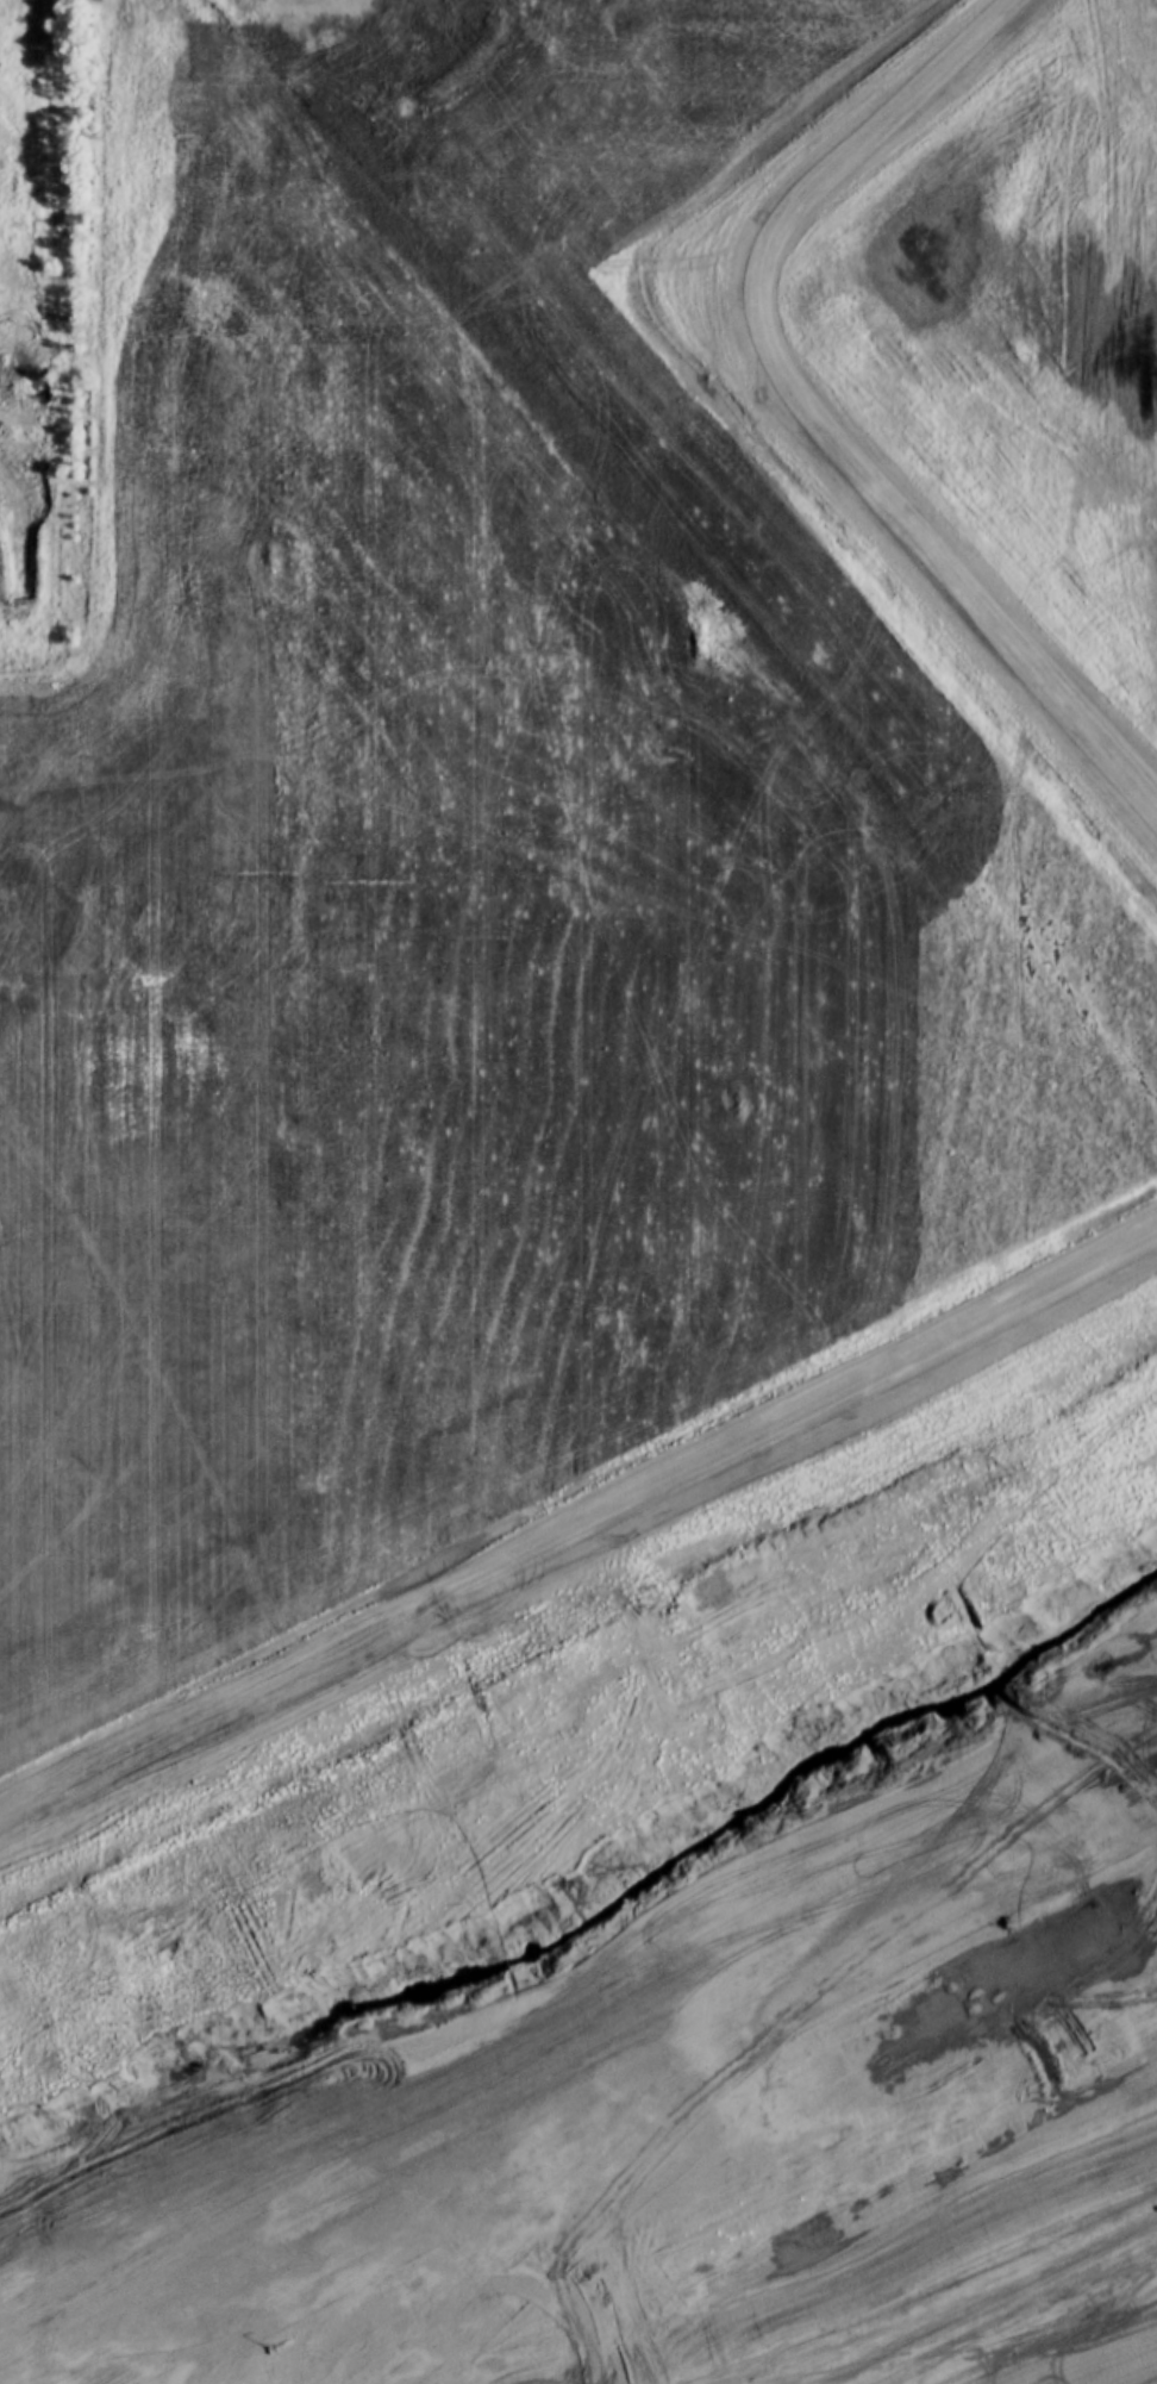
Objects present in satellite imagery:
building: (27, 386)

